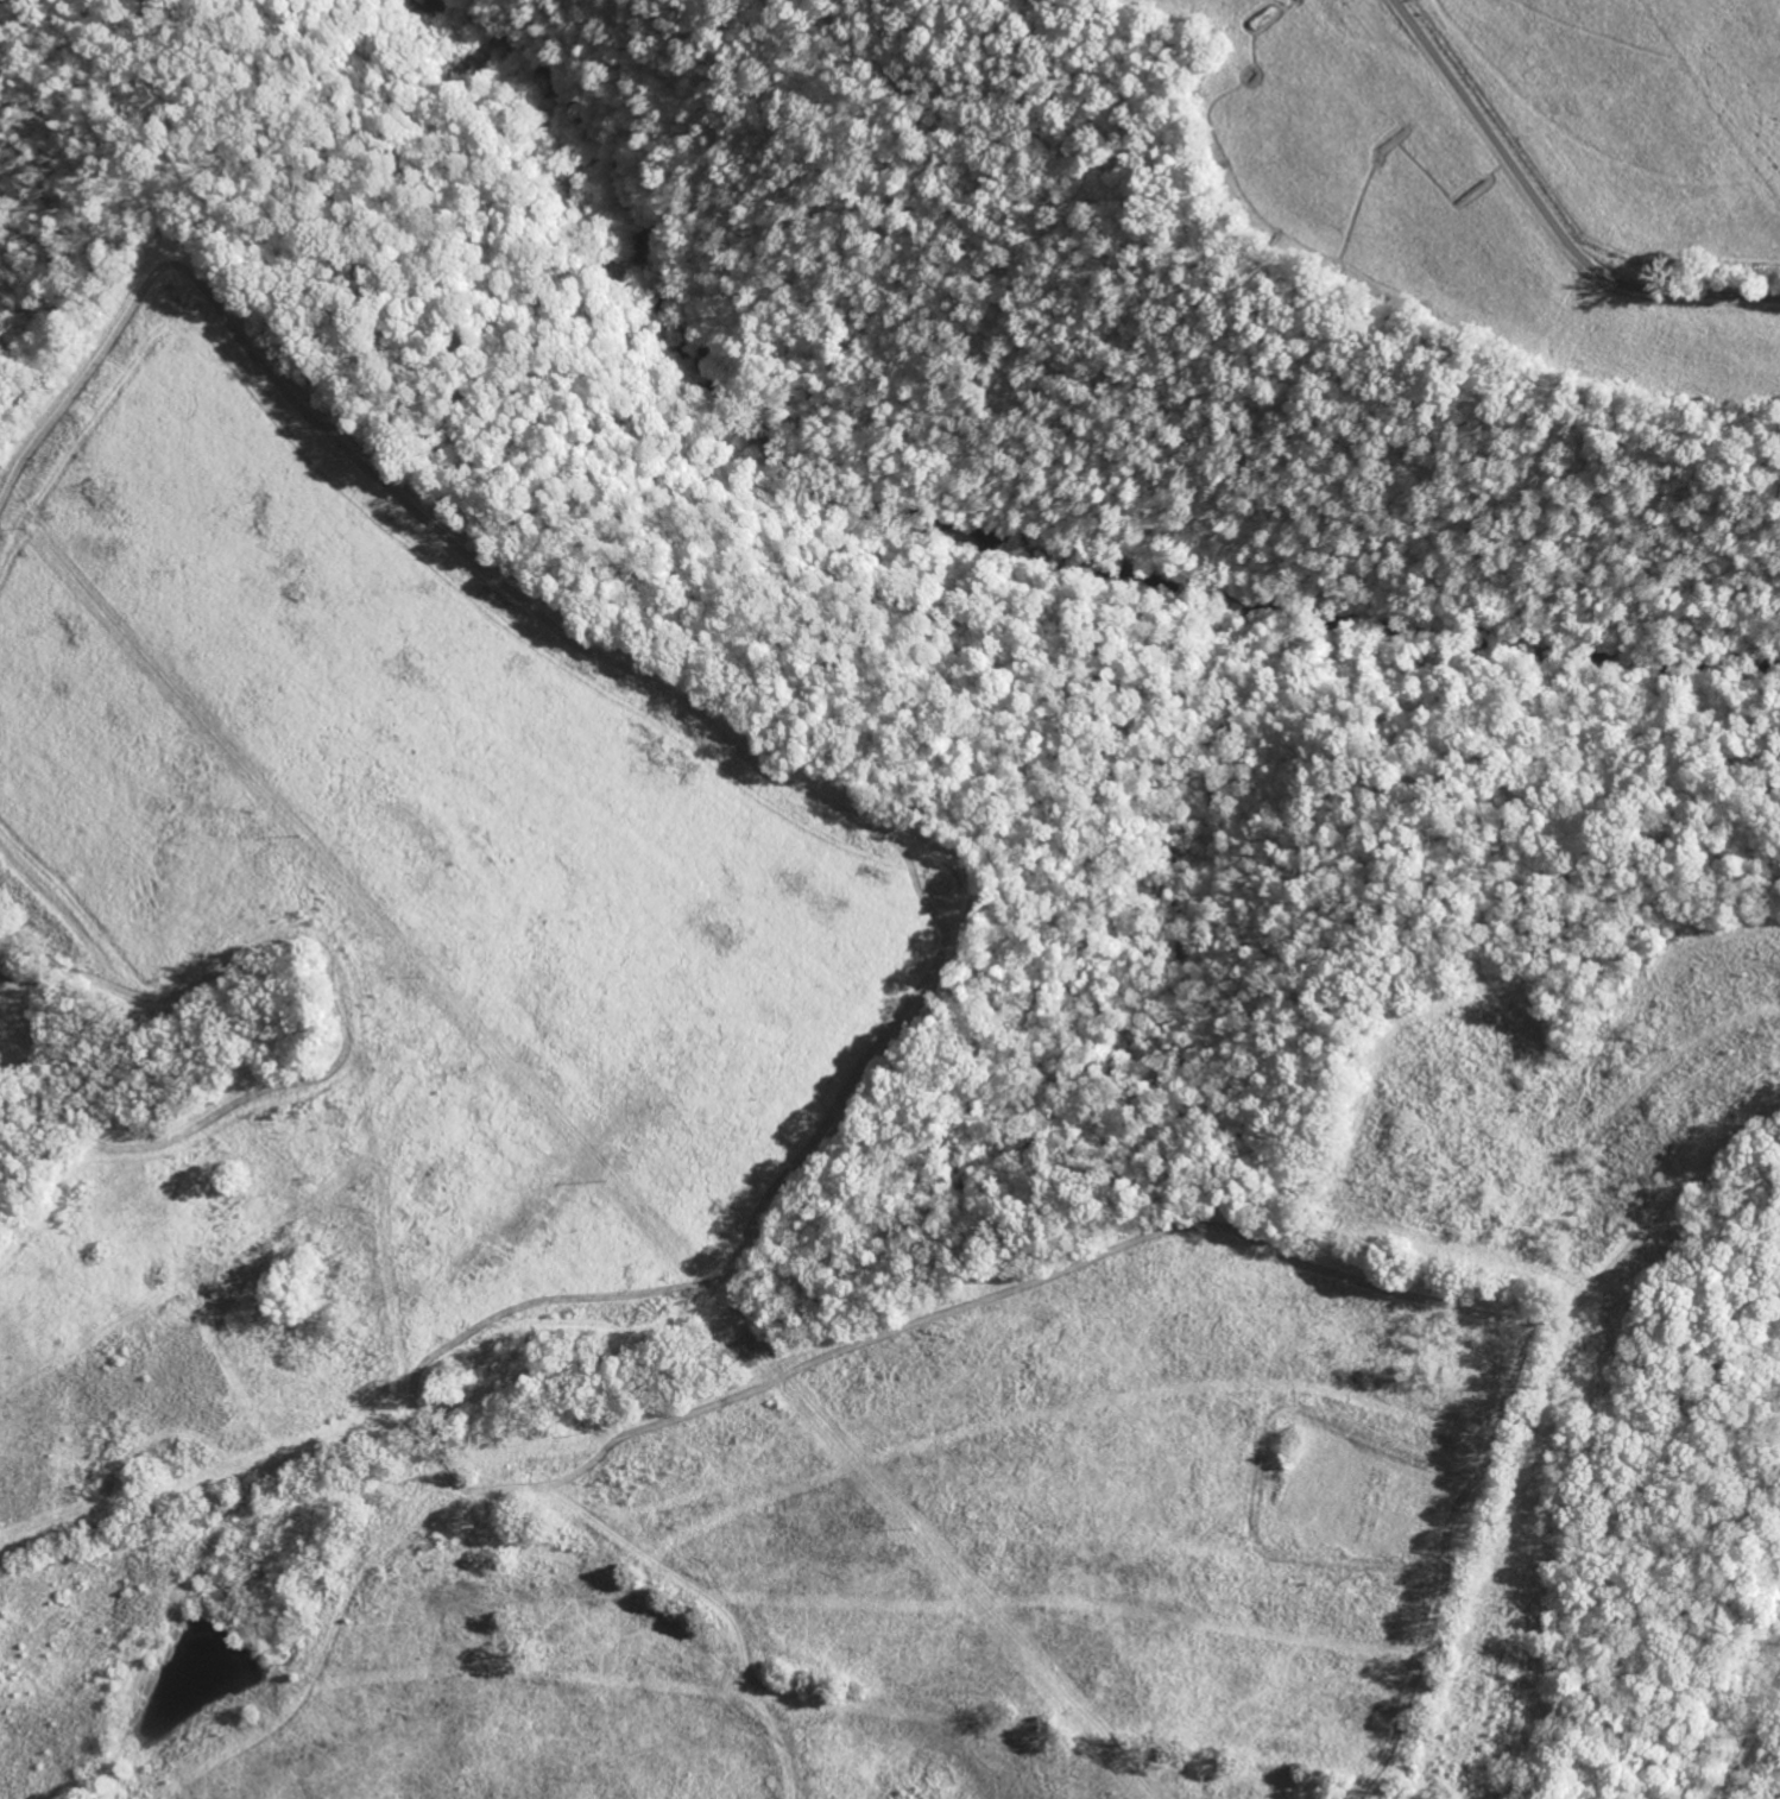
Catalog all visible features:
road: (1551, 210)
road: (1054, 917)
road: (348, 991)
road: (1509, 1016)
road: (1675, 1188)
road: (757, 1213)
road: (1652, 1516)
road: (1475, 1538)
road: (1747, 1730)

